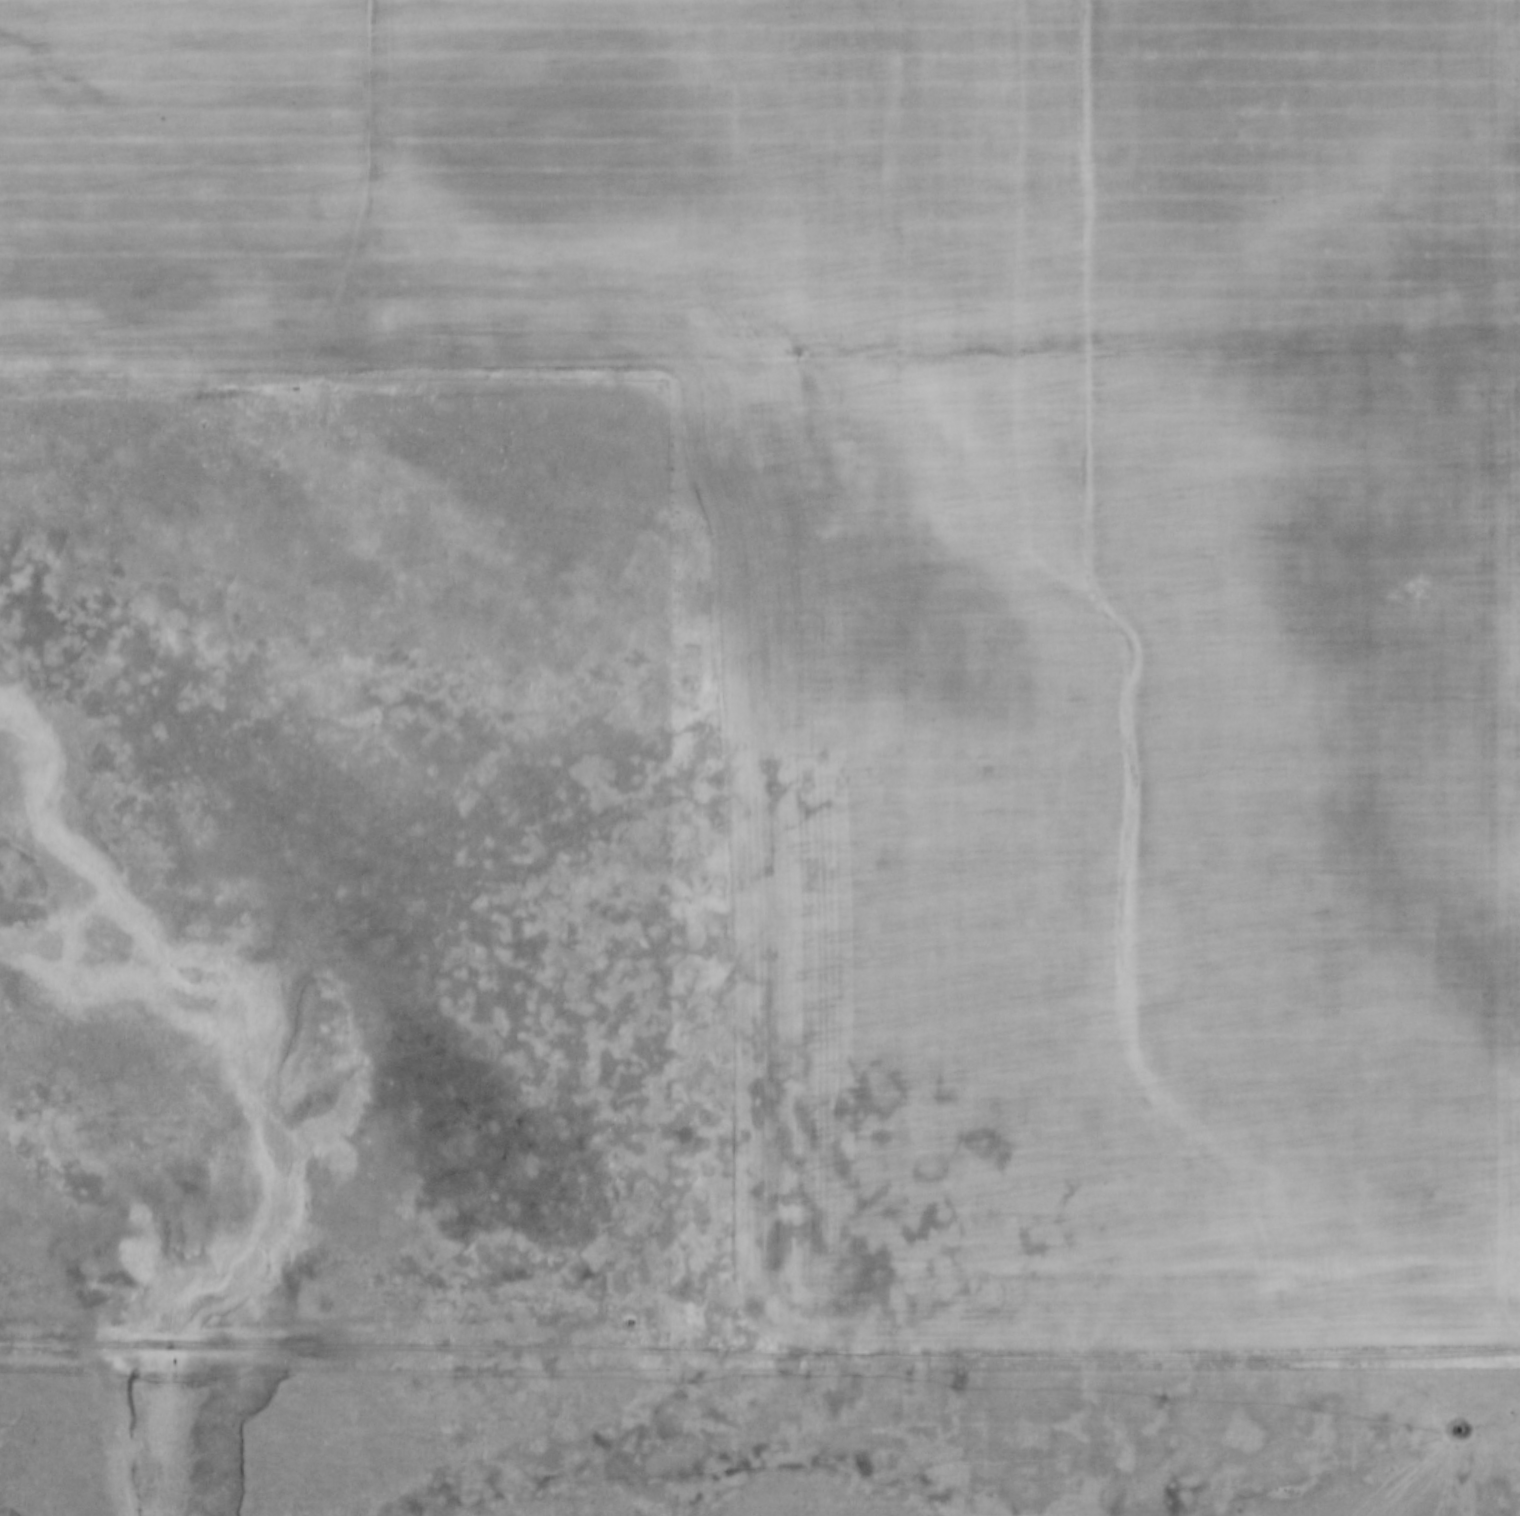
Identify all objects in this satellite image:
road: (760, 1353)

